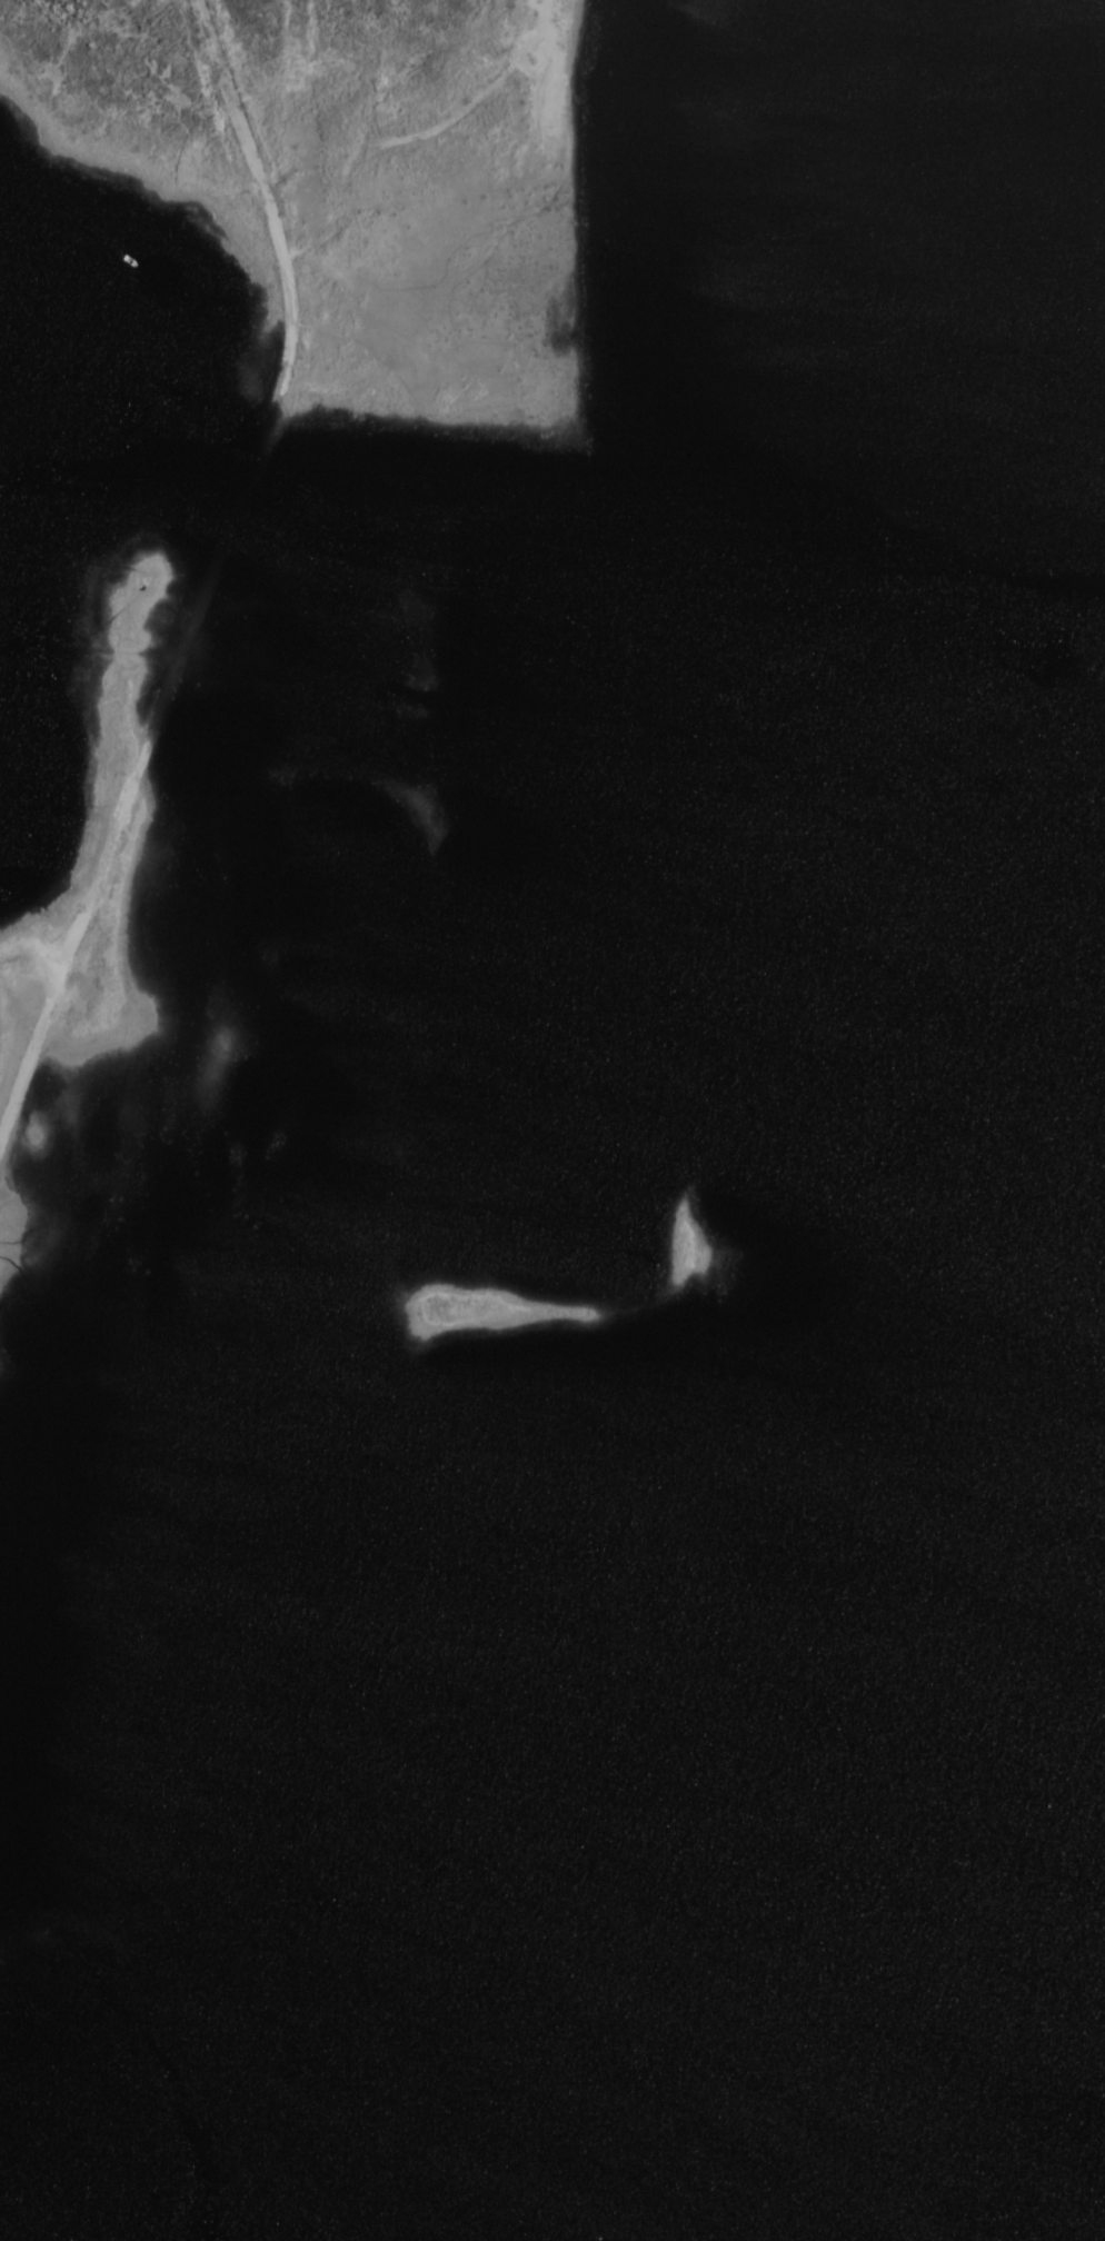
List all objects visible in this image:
road: (218, 599)

